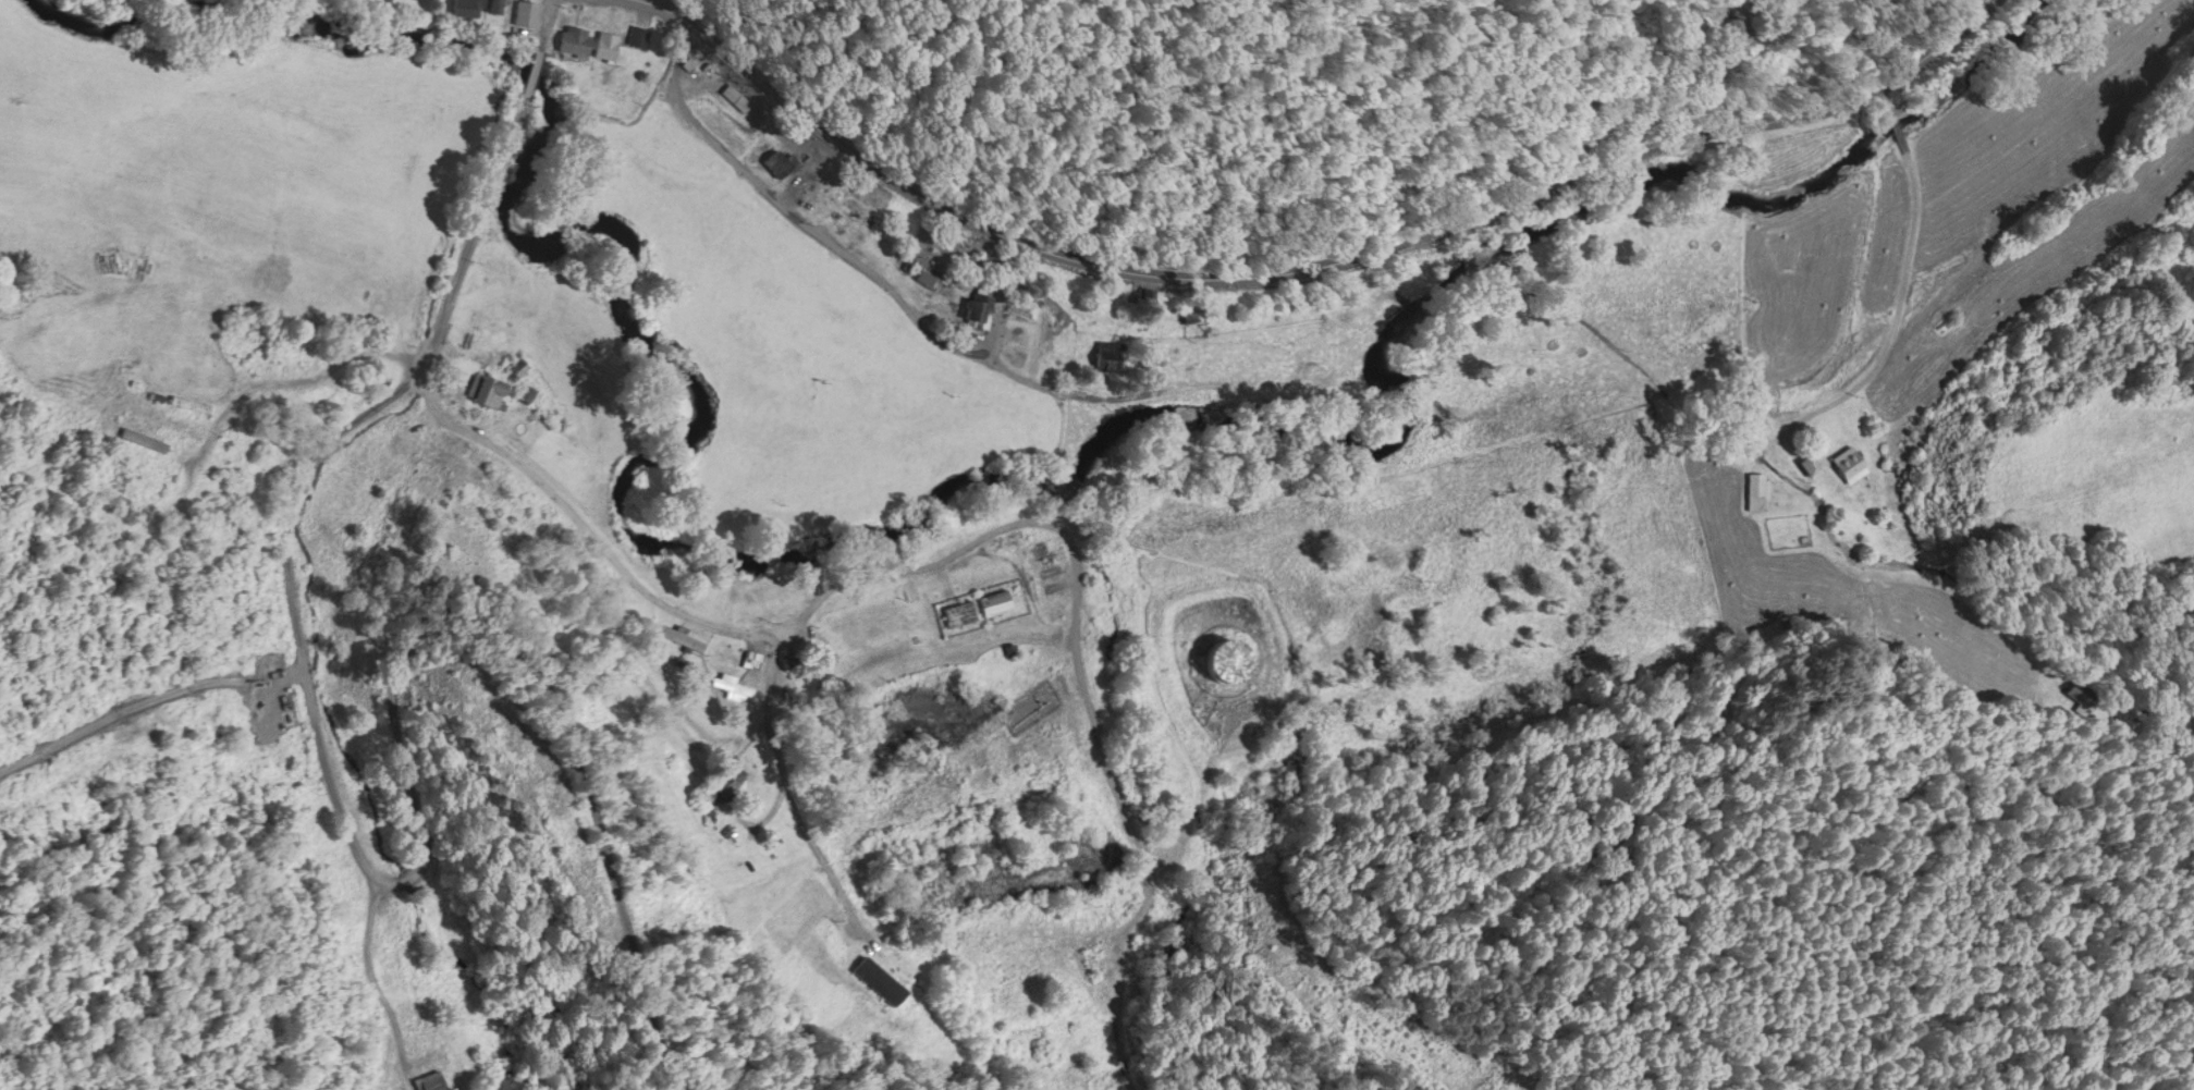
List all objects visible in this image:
building: (468, 7)
building: (527, 11)
road: (544, 20)
building: (1742, 24)
building: (639, 34)
building: (575, 38)
building: (608, 42)
road: (532, 66)
road: (625, 68)
building: (781, 161)
road: (1311, 259)
road: (1898, 281)
building: (981, 304)
building: (1110, 354)
road: (291, 378)
building: (488, 388)
building: (189, 402)
building: (142, 436)
building: (1850, 461)
building: (1811, 463)
building: (1756, 489)
road: (573, 512)
building: (995, 601)
building: (959, 611)
building: (682, 635)
building: (752, 657)
building: (1231, 658)
building: (731, 683)
building: (2072, 694)
road: (387, 878)
road: (368, 971)
building: (881, 978)
building: (432, 1081)

